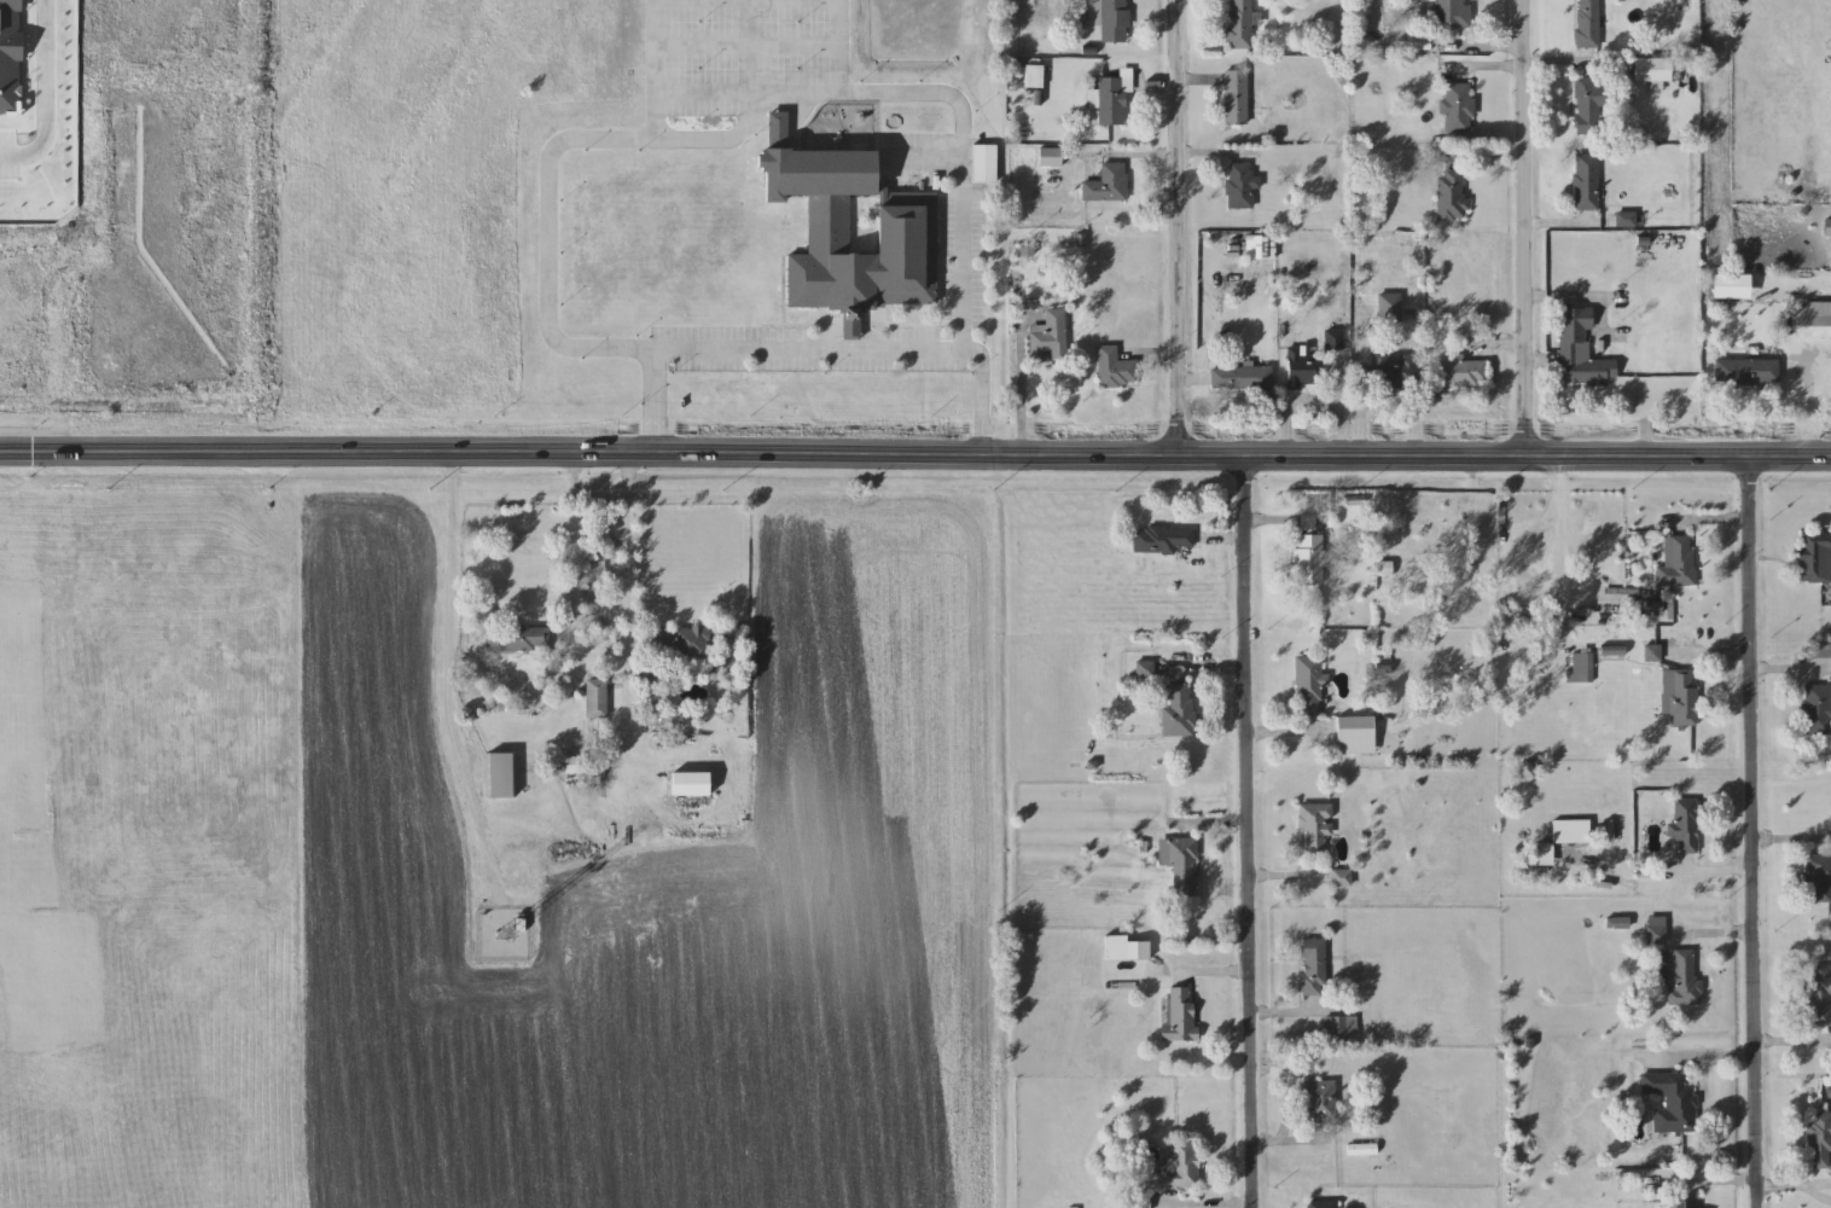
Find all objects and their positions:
building: (1452, 13)
building: (1111, 19)
building: (1240, 24)
building: (1587, 24)
road: (837, 42)
road: (650, 43)
road: (1484, 48)
road: (1551, 63)
road: (1484, 69)
building: (1651, 69)
road: (702, 88)
road: (47, 94)
building: (1237, 97)
building: (1112, 100)
building: (1588, 104)
building: (1459, 108)
road: (717, 137)
road: (1483, 156)
building: (1051, 158)
building: (984, 163)
building: (1586, 182)
building: (1108, 185)
building: (1242, 186)
building: (1451, 194)
building: (902, 223)
road: (1563, 225)
road: (1527, 227)
road: (1178, 228)
building: (1827, 228)
building: (1730, 286)
road: (1582, 298)
building: (1394, 310)
building: (1813, 319)
building: (1050, 337)
road: (806, 348)
building: (1581, 350)
building: (1115, 368)
building: (1303, 368)
building: (1393, 370)
building: (1744, 371)
building: (1463, 373)
building: (1242, 378)
road: (1360, 378)
road: (980, 394)
road: (1018, 396)
road: (653, 401)
road: (1408, 405)
road: (1338, 406)
road: (1809, 408)
road: (1291, 410)
road: (915, 455)
road: (1708, 523)
road: (1286, 524)
building: (1161, 539)
road: (571, 544)
building: (1814, 557)
building: (1310, 558)
building: (1676, 563)
road: (624, 598)
road: (446, 627)
building: (521, 639)
building: (680, 643)
road: (1708, 655)
building: (1586, 667)
building: (1145, 669)
road: (1201, 672)
road: (1785, 673)
building: (1309, 686)
building: (597, 698)
building: (1685, 698)
building: (1818, 709)
building: (1179, 712)
building: (1355, 728)
road: (1309, 737)
building: (576, 766)
building: (500, 774)
building: (688, 783)
road: (1208, 824)
building: (1315, 826)
building: (1686, 826)
building: (1571, 831)
road: (1246, 832)
road: (1749, 832)
road: (1790, 840)
building: (1545, 854)
building: (1180, 867)
road: (1711, 872)
building: (1818, 877)
building: (1342, 878)
road: (1285, 879)
building: (1655, 935)
road: (1709, 936)
building: (1313, 968)
road: (1203, 975)
building: (1679, 977)
building: (1819, 994)
building: (1181, 1015)
road: (1289, 1016)
building: (1341, 1026)
road: (1788, 1044)
road: (1707, 1057)
road: (1289, 1096)
building: (1320, 1100)
building: (1672, 1100)
building: (1819, 1139)
road: (1290, 1144)
building: (1182, 1167)
road: (1755, 1185)
building: (1321, 1204)
building: (1684, 1204)
road: (1202, 1206)

